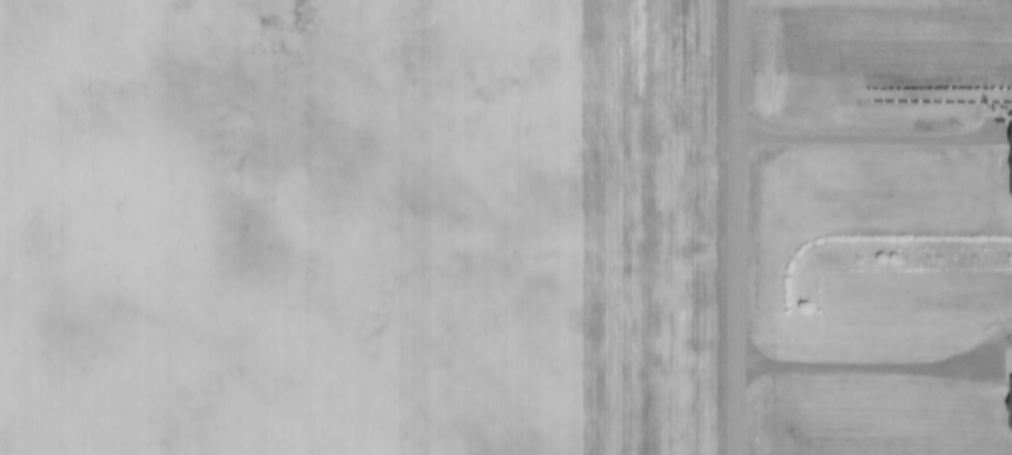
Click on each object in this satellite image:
road: (738, 227)

